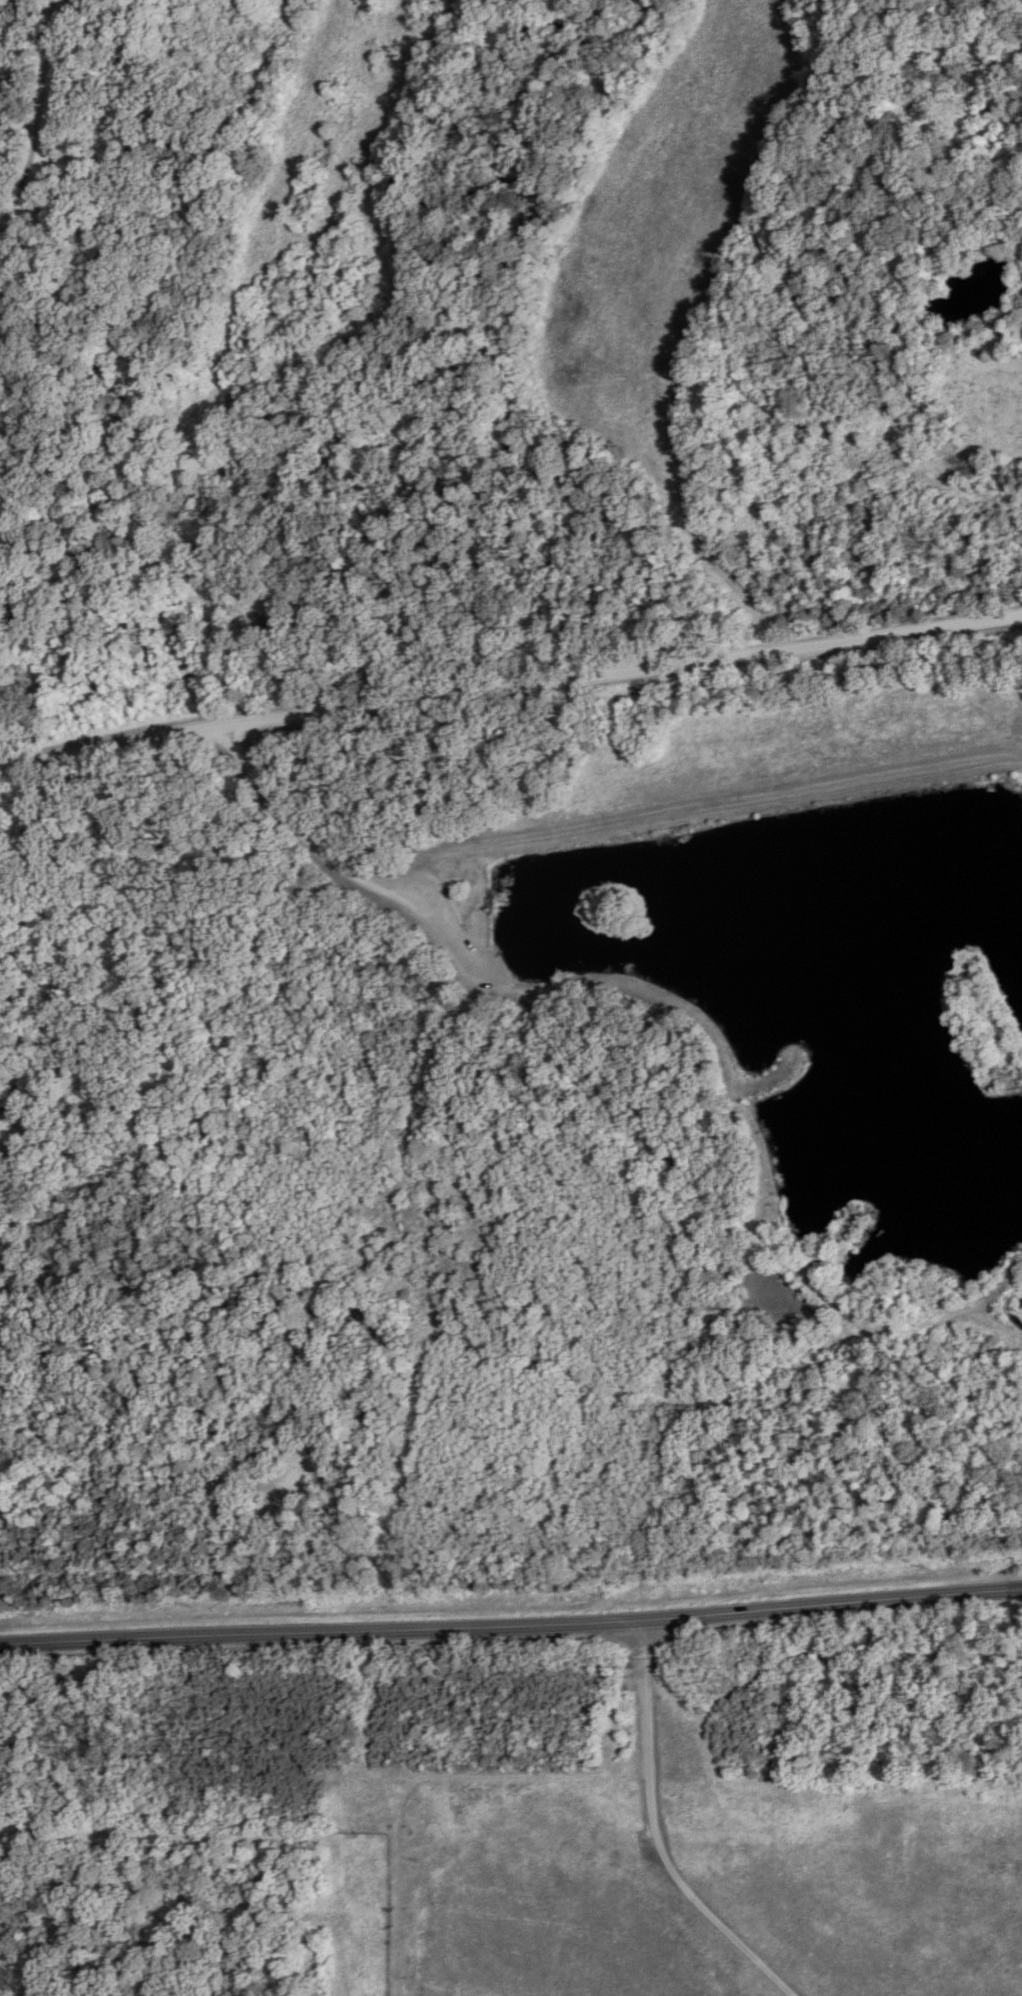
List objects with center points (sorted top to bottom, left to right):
road: (50, 127)
road: (510, 684)
dam: (735, 821)
road: (335, 864)
parking lot: (469, 966)
road: (176, 1127)
road: (511, 1624)
road: (654, 1834)
park: (690, 1882)
road: (205, 1902)

